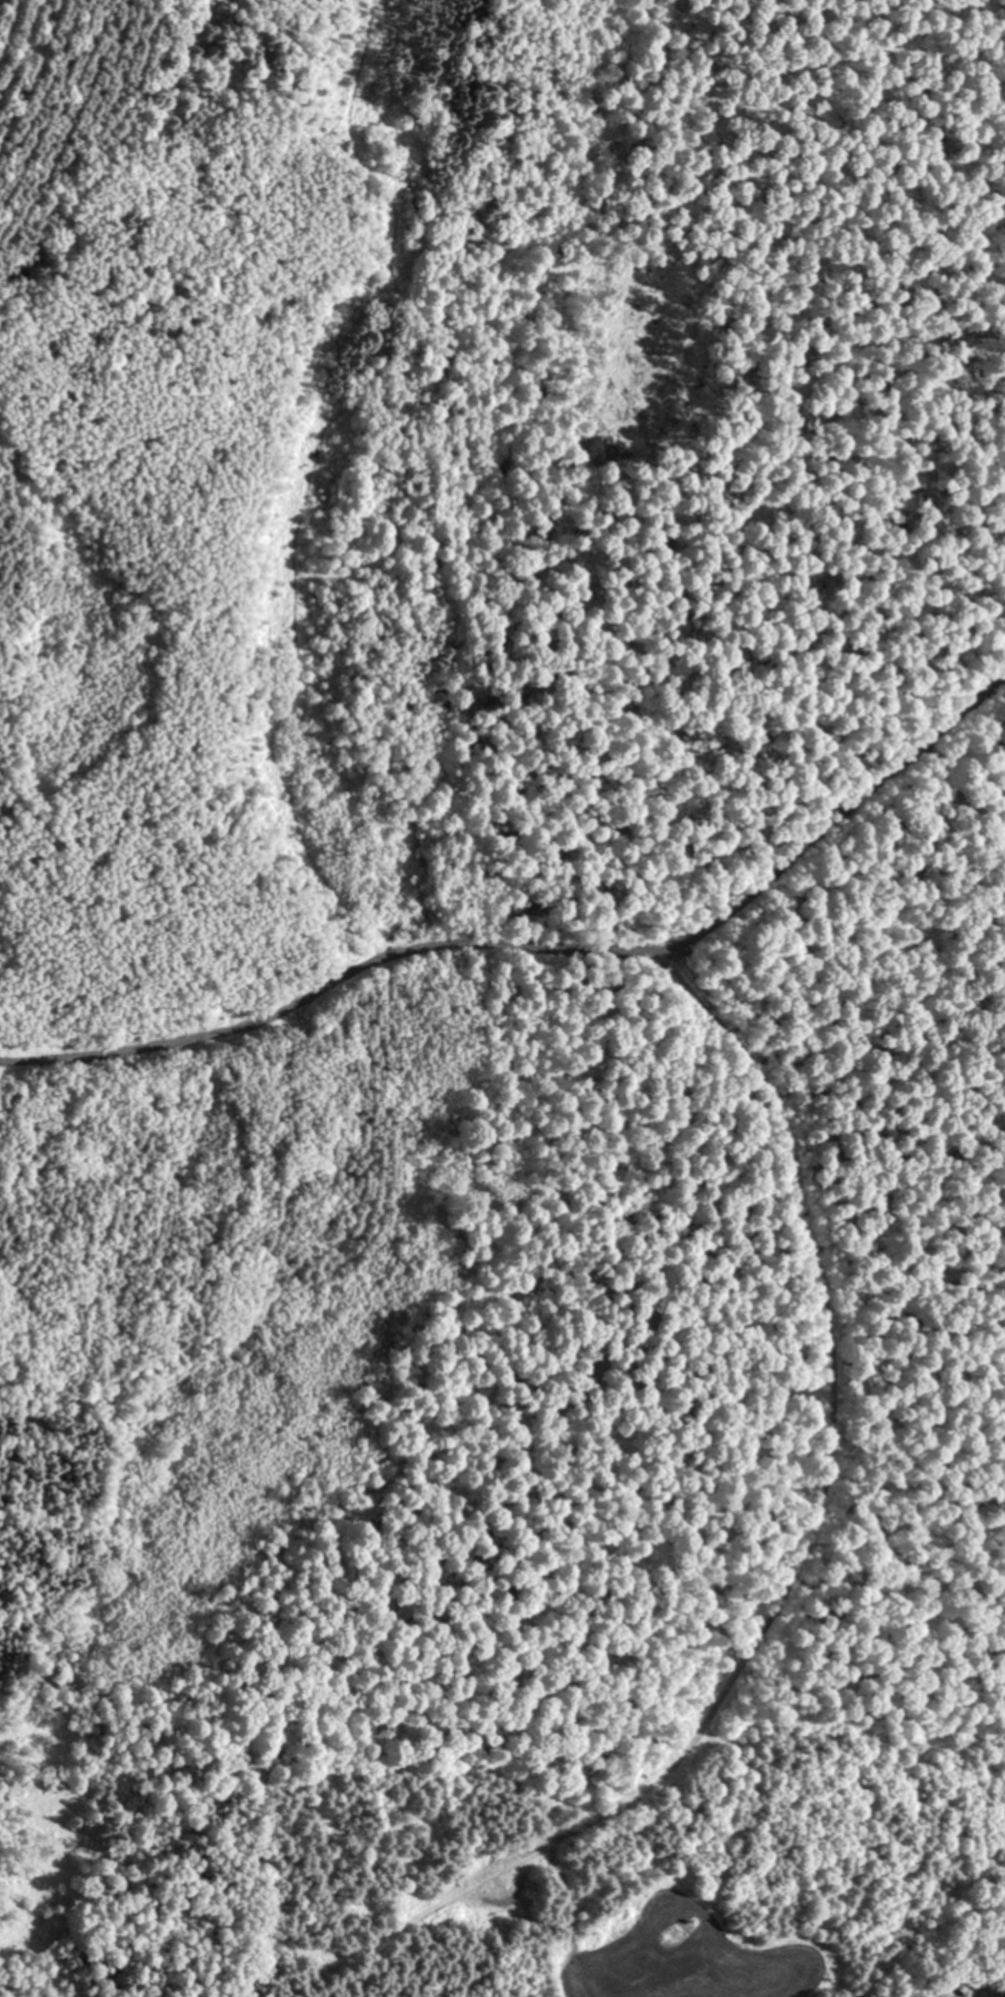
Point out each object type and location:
road: (543, 944)

